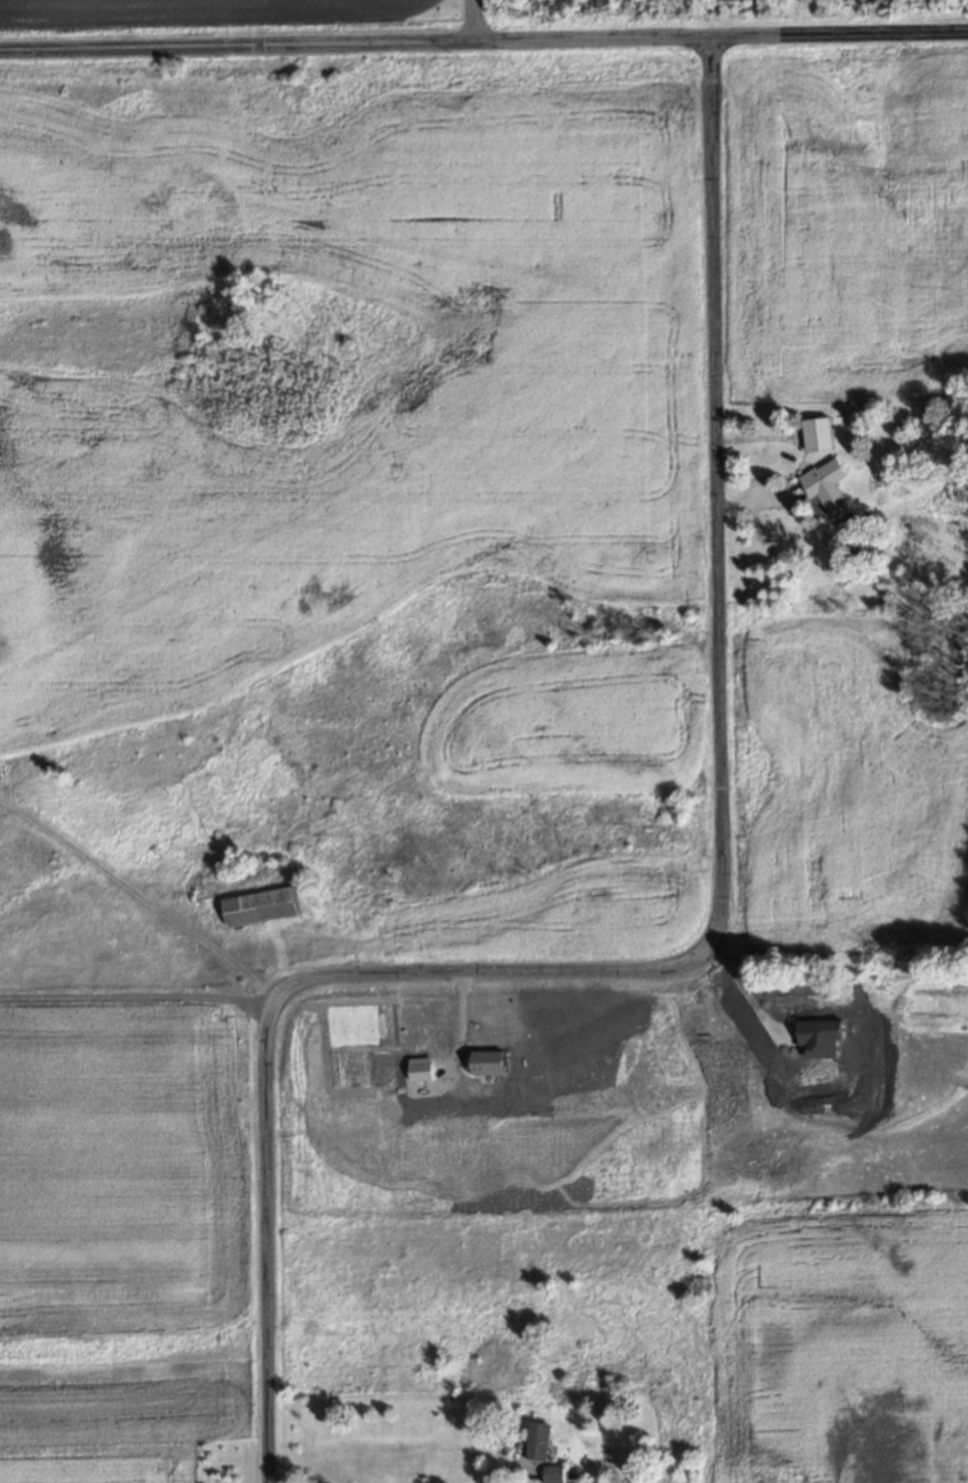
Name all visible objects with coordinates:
road: (476, 15)
road: (483, 31)
building: (817, 433)
building: (827, 487)
building: (260, 906)
road: (700, 946)
road: (742, 987)
road: (138, 995)
building: (537, 1441)
building: (552, 1474)
road: (493, 1475)

